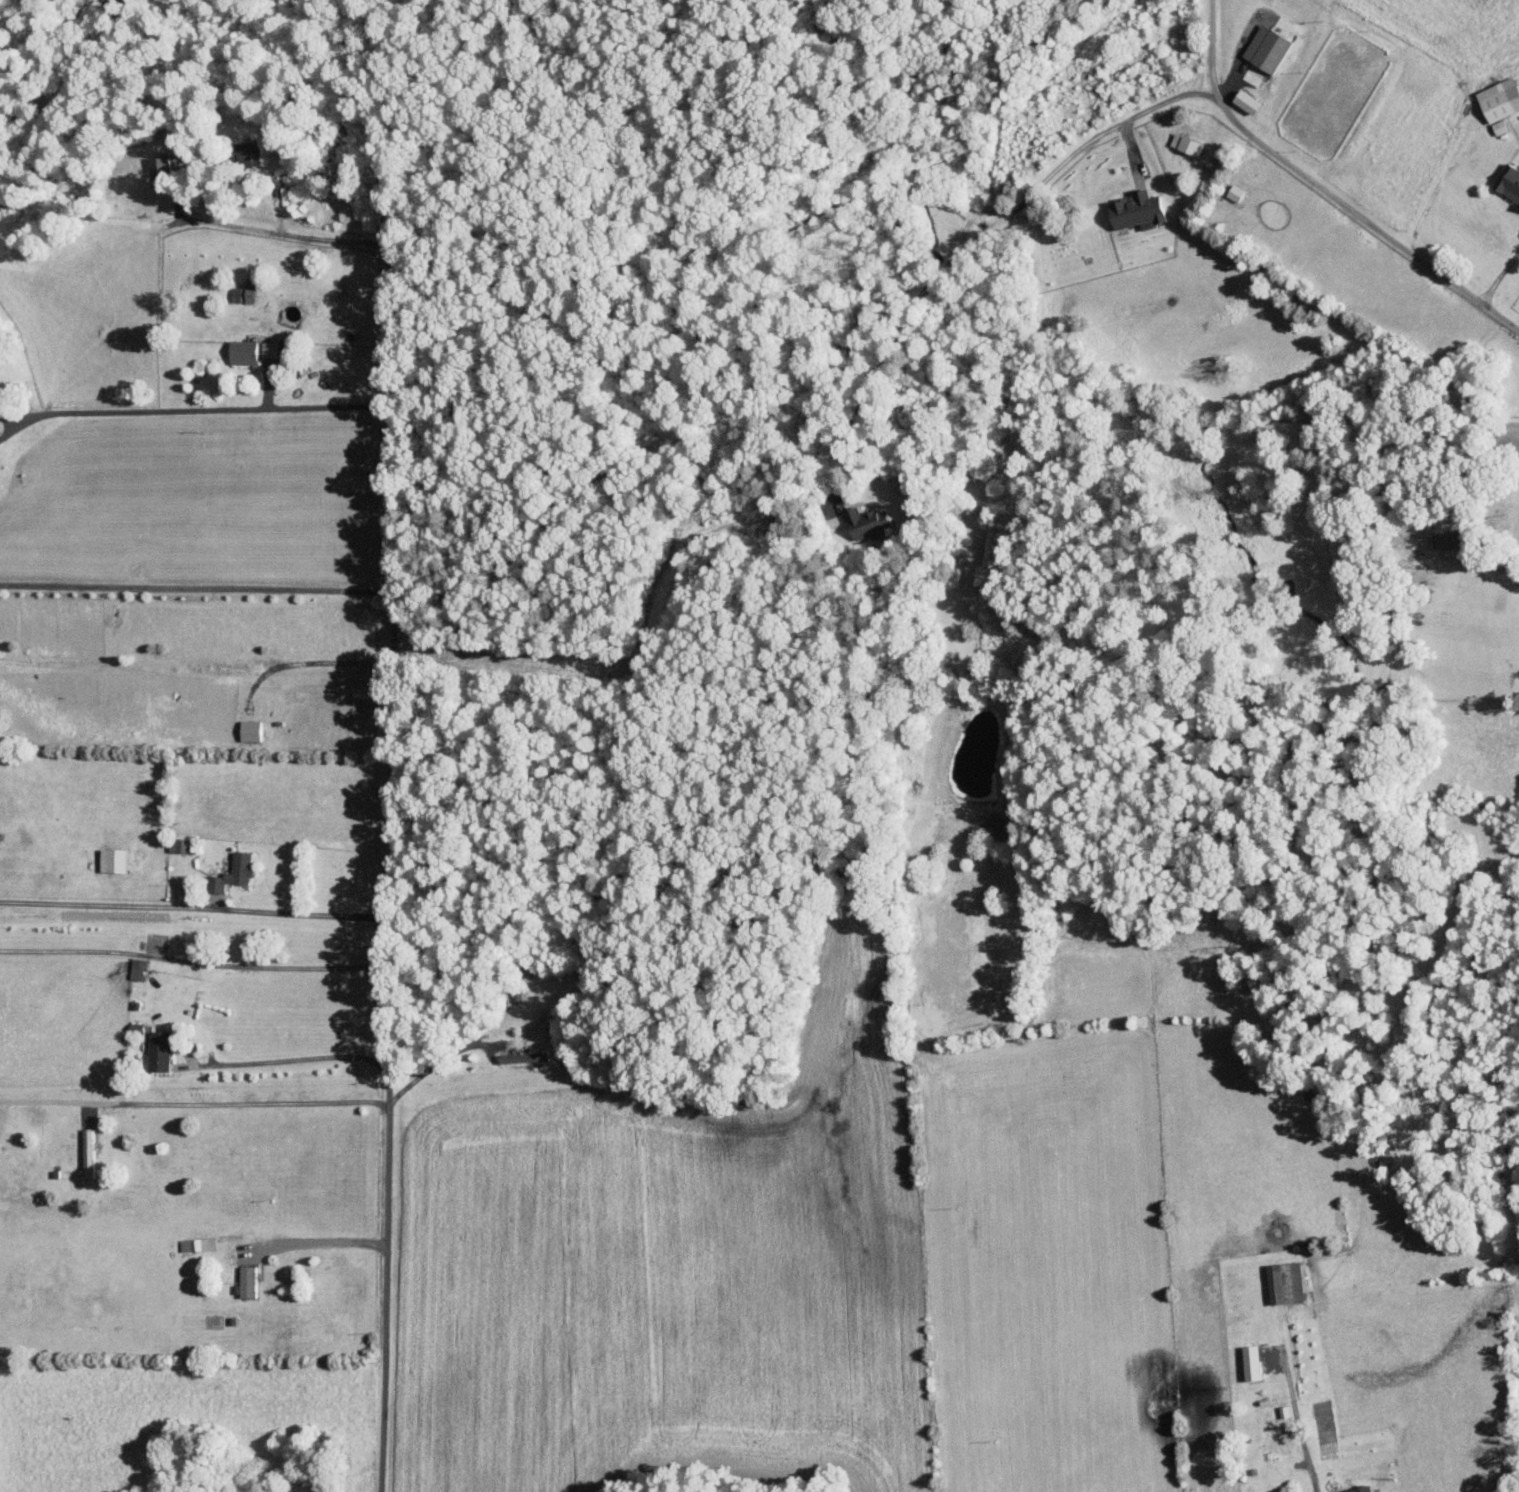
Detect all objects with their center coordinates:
building: (1268, 48)
road: (1210, 49)
building: (1249, 102)
building: (1501, 103)
road: (1116, 125)
building: (1187, 144)
building: (247, 154)
building: (160, 171)
building: (1509, 182)
road: (1437, 192)
building: (1139, 211)
road: (365, 242)
road: (1500, 278)
building: (250, 291)
building: (269, 350)
building: (244, 352)
road: (197, 409)
building: (869, 522)
road: (1517, 555)
road: (194, 587)
road: (303, 653)
building: (251, 730)
building: (180, 844)
building: (113, 860)
building: (233, 872)
road: (193, 908)
road: (193, 950)
road: (387, 954)
building: (138, 968)
building: (159, 1050)
building: (523, 1057)
road: (290, 1059)
road: (435, 1062)
road: (238, 1098)
building: (88, 1152)
road: (330, 1232)
building: (196, 1244)
building: (246, 1282)
building: (1286, 1282)
building: (1253, 1362)
road: (1295, 1417)
building: (1360, 1489)

